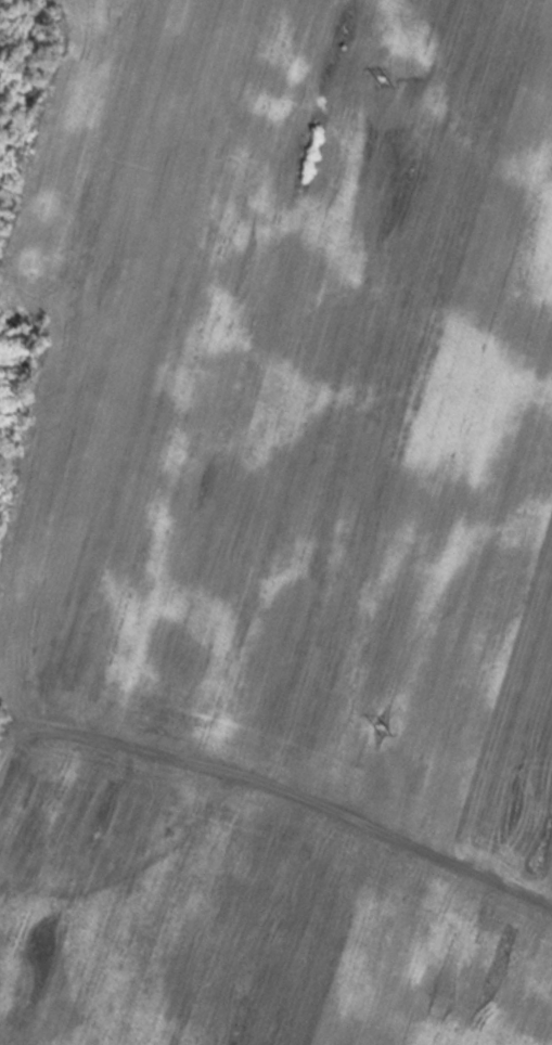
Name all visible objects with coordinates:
power tower: (383, 79)
power tower: (380, 727)

